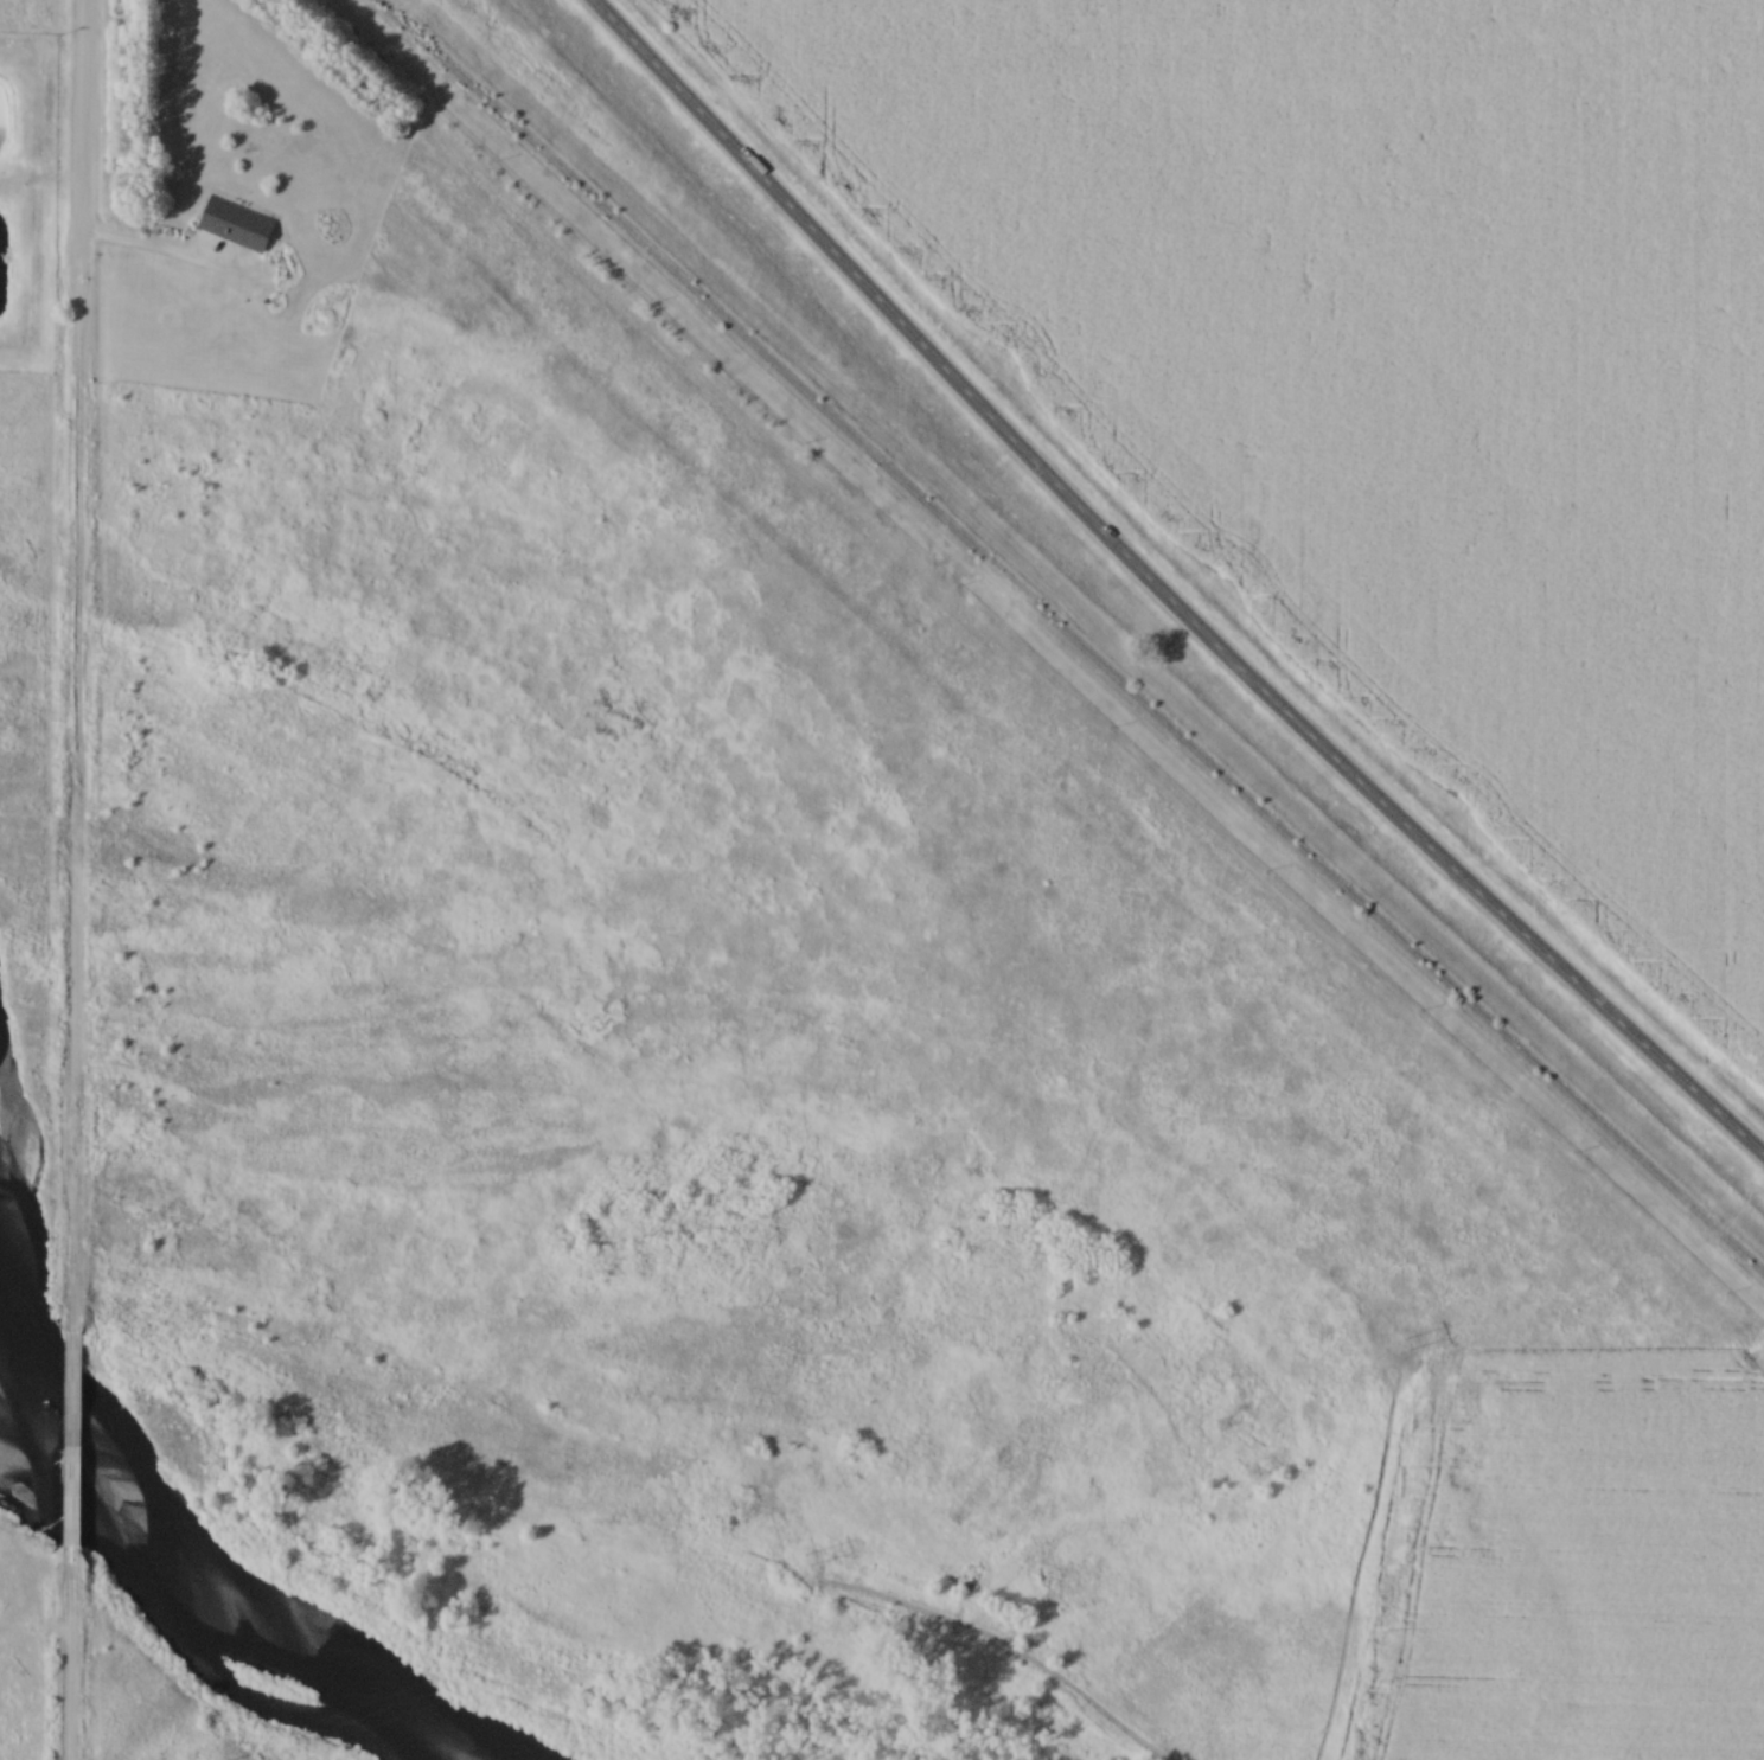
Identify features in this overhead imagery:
building: (235, 225)
road: (161, 258)
road: (1156, 597)
railway: (1060, 644)
road: (76, 666)
power tower: (1406, 1345)
road: (71, 1441)
building: (71, 1448)
power tower: (798, 1564)
river: (204, 1577)
road: (68, 1653)

